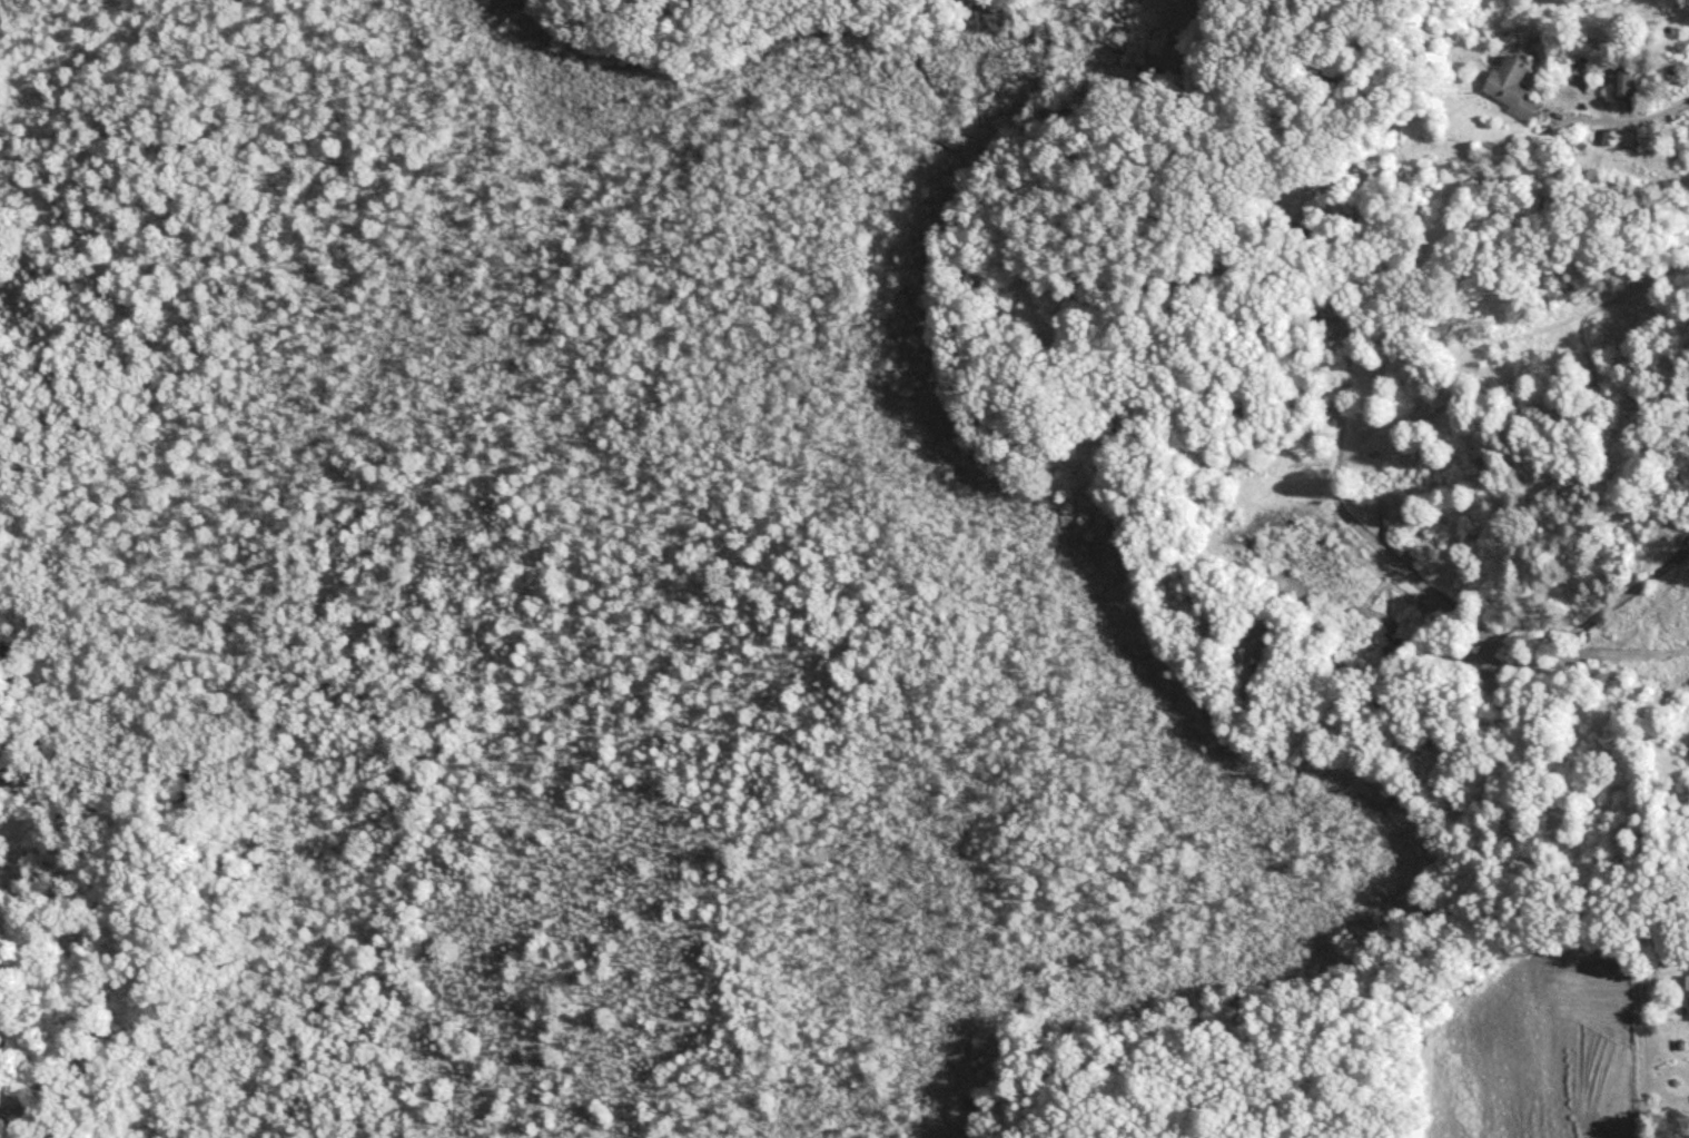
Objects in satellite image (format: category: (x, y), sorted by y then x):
building: (1509, 91)
building: (1623, 91)
road: (1620, 125)
building: (1686, 989)

